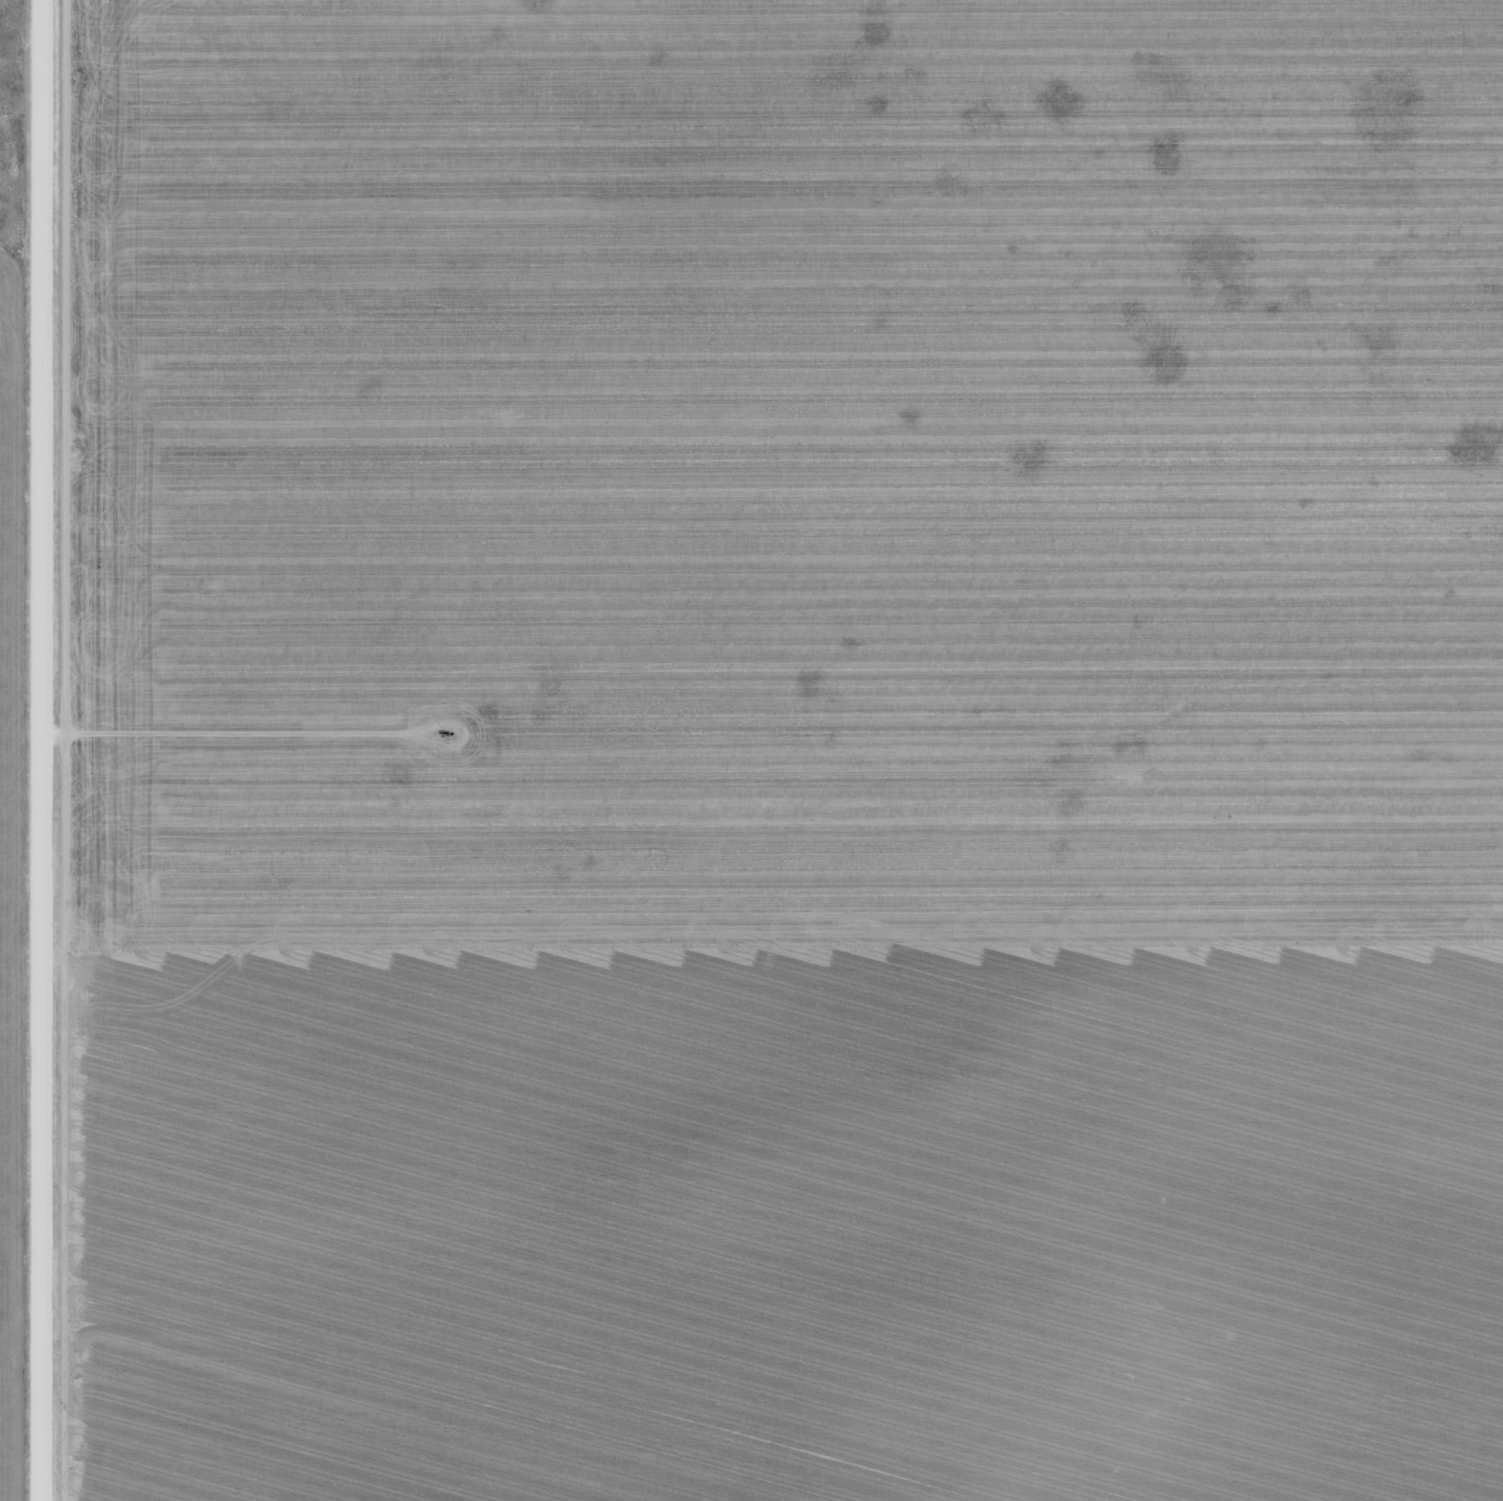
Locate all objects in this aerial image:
railway: (630, 680)
road: (39, 750)

